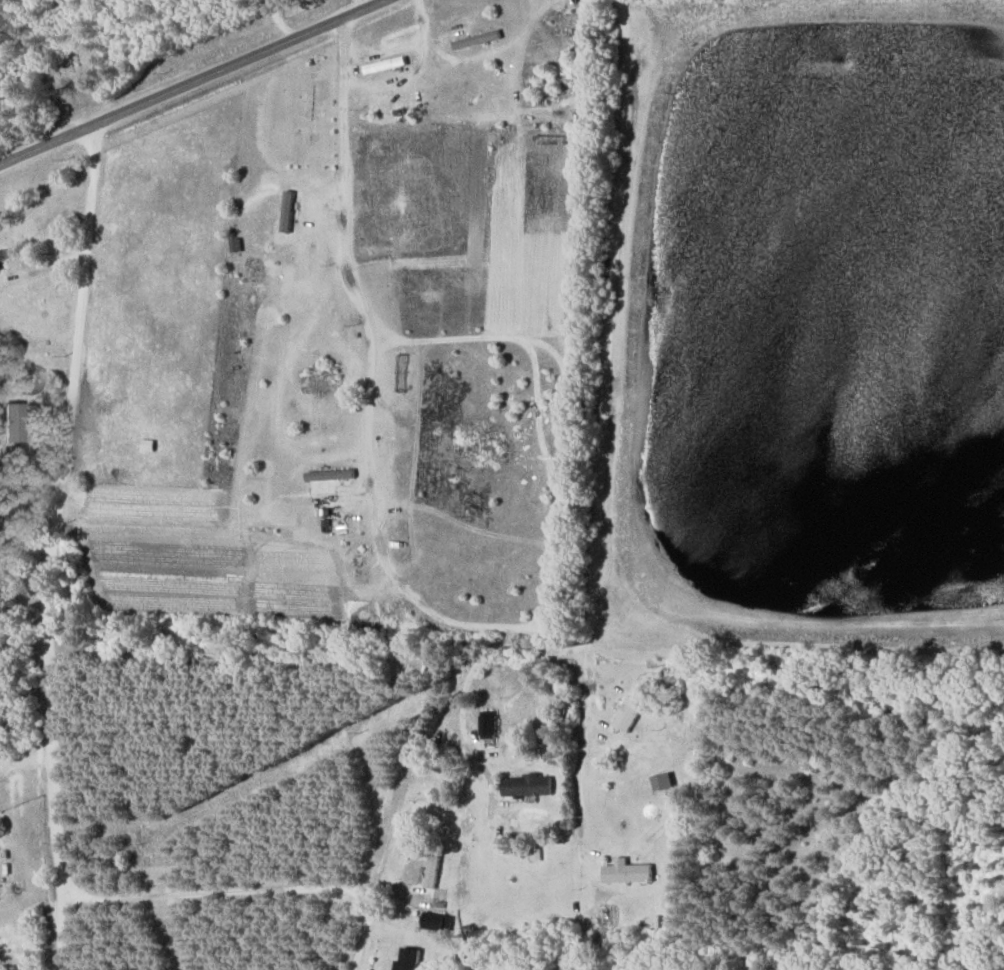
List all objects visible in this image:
building: (564, 18)
building: (475, 40)
building: (383, 65)
road: (189, 79)
building: (375, 121)
road: (348, 169)
building: (4, 250)
building: (400, 277)
road: (610, 319)
building: (14, 423)
building: (146, 445)
building: (328, 475)
road: (45, 546)
building: (627, 714)
building: (486, 725)
building: (661, 781)
building: (525, 786)
building: (625, 873)
building: (436, 921)
building: (415, 960)
building: (22, 969)

